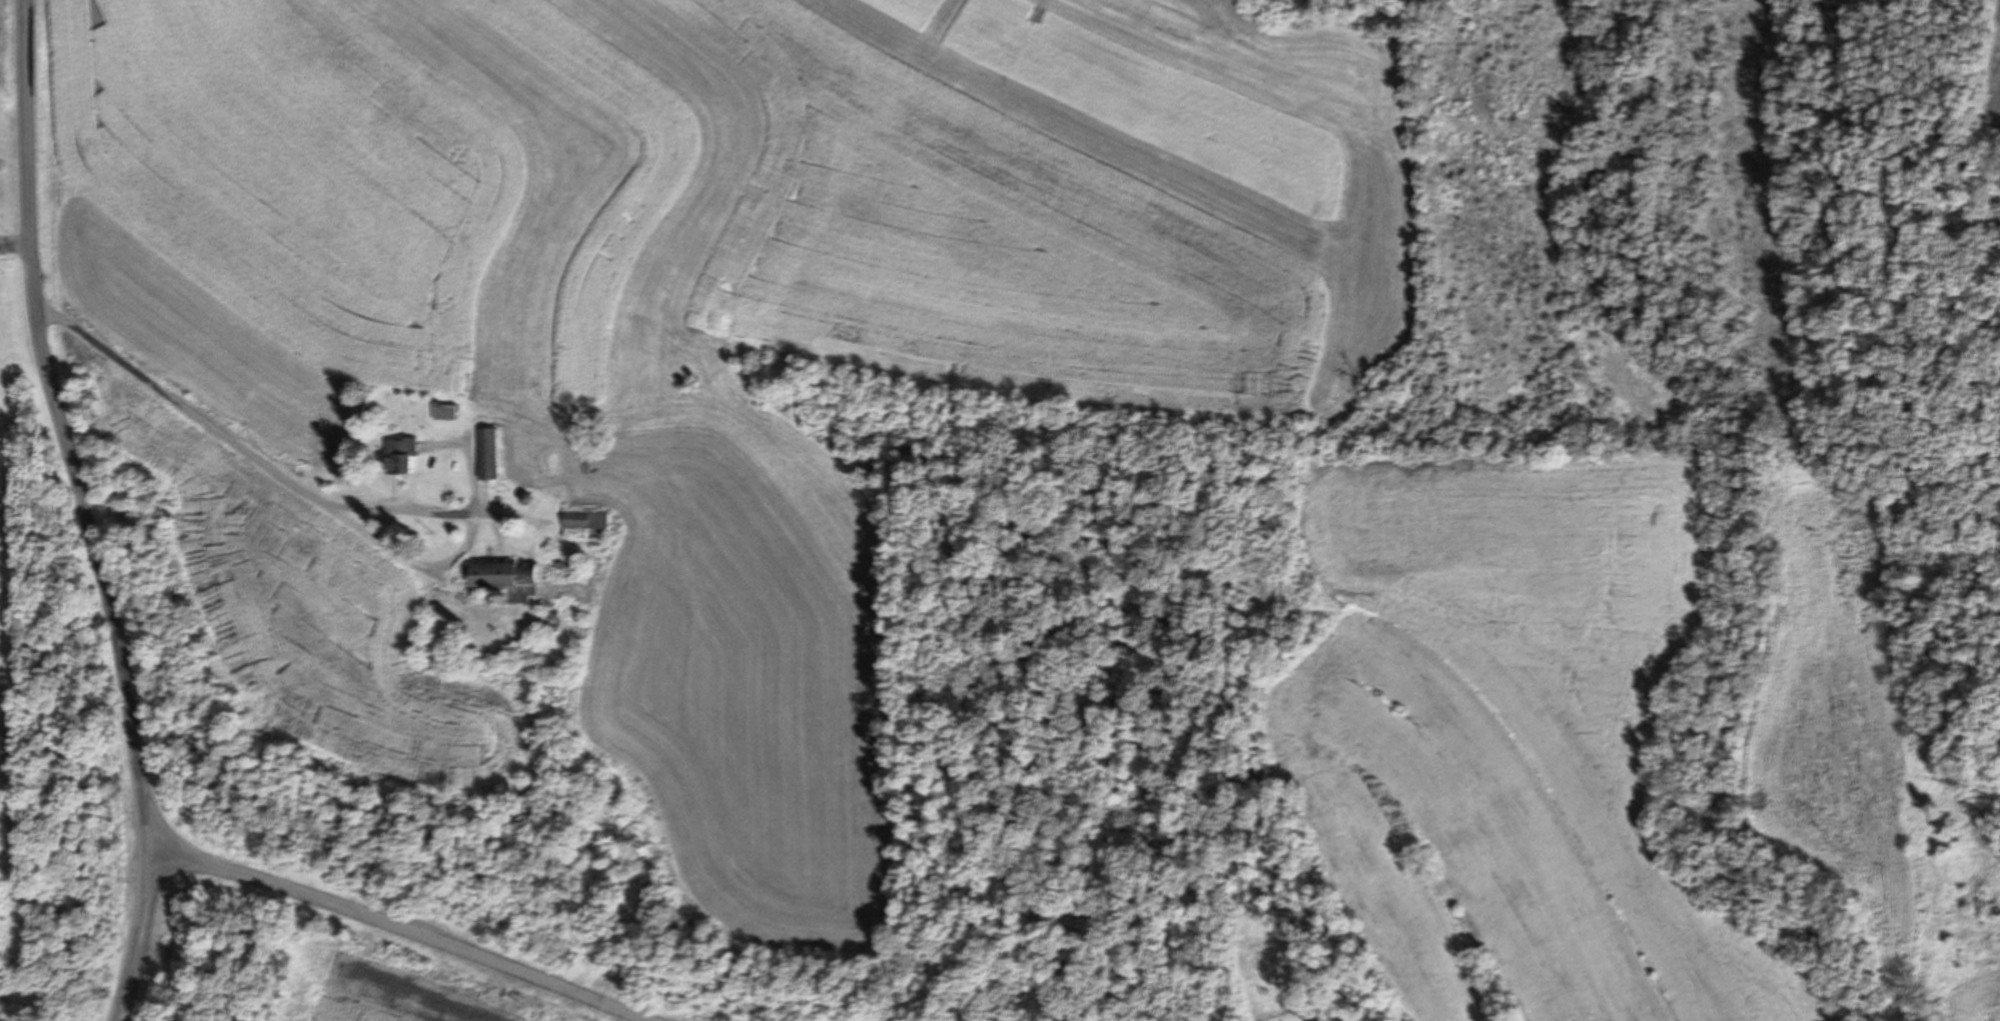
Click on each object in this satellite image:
building: (444, 411)
road: (245, 438)
building: (487, 453)
building: (399, 455)
road: (84, 512)
building: (583, 519)
building: (505, 579)
road: (398, 925)

